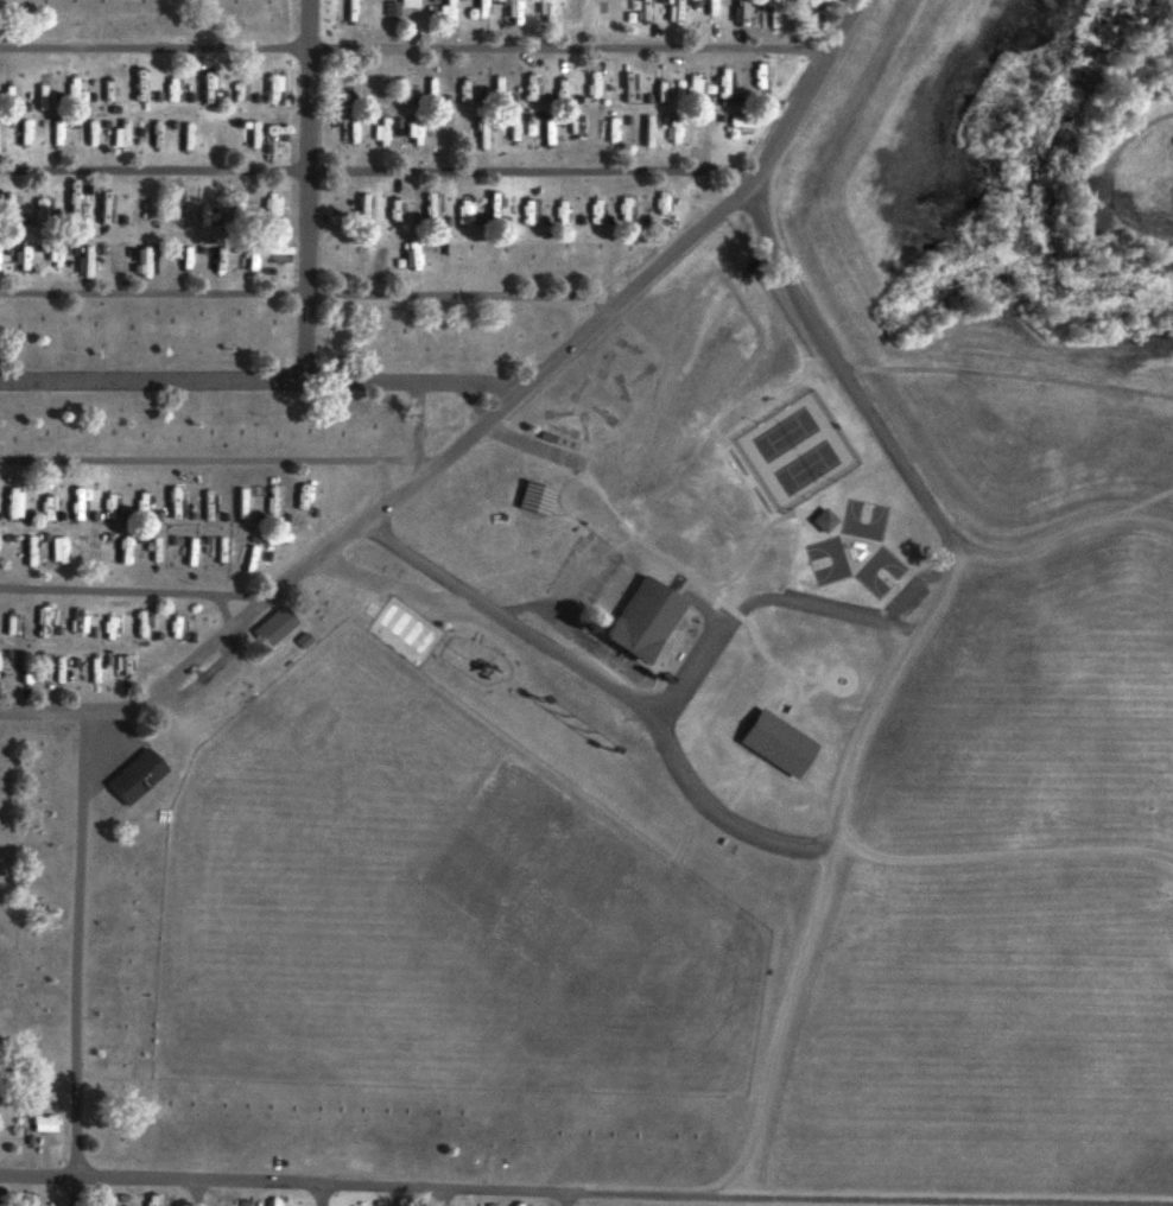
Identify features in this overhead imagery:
building: (408, 4)
building: (438, 4)
building: (535, 5)
building: (565, 5)
building: (277, 8)
road: (416, 47)
building: (367, 87)
building: (607, 119)
building: (700, 119)
building: (408, 132)
road: (376, 171)
road: (303, 190)
building: (659, 199)
building: (527, 202)
building: (205, 205)
building: (268, 212)
building: (340, 254)
building: (404, 254)
road: (306, 294)
building: (53, 329)
building: (430, 329)
building: (477, 336)
road: (259, 380)
park: (786, 413)
road: (419, 420)
road: (478, 429)
building: (172, 430)
road: (526, 443)
park: (807, 446)
road: (216, 459)
road: (760, 461)
road: (902, 463)
road: (387, 480)
building: (530, 499)
park: (863, 499)
building: (302, 500)
building: (824, 500)
road: (755, 538)
park: (828, 540)
road: (652, 544)
building: (120, 550)
park: (881, 550)
road: (134, 591)
road: (224, 610)
building: (75, 621)
building: (647, 621)
building: (40, 623)
building: (173, 626)
building: (272, 627)
building: (145, 664)
road: (690, 667)
building: (55, 668)
building: (119, 668)
road: (831, 669)
building: (91, 671)
road: (812, 674)
road: (604, 677)
road: (812, 686)
road: (780, 717)
building: (779, 741)
building: (132, 777)
road: (80, 959)
building: (1, 1013)
building: (113, 1074)
building: (1, 1128)
building: (123, 1128)
building: (121, 1154)
road: (586, 1188)
road: (192, 1193)
road: (319, 1194)
road: (440, 1195)
road: (564, 1197)
building: (150, 1199)
building: (266, 1202)
building: (398, 1204)

